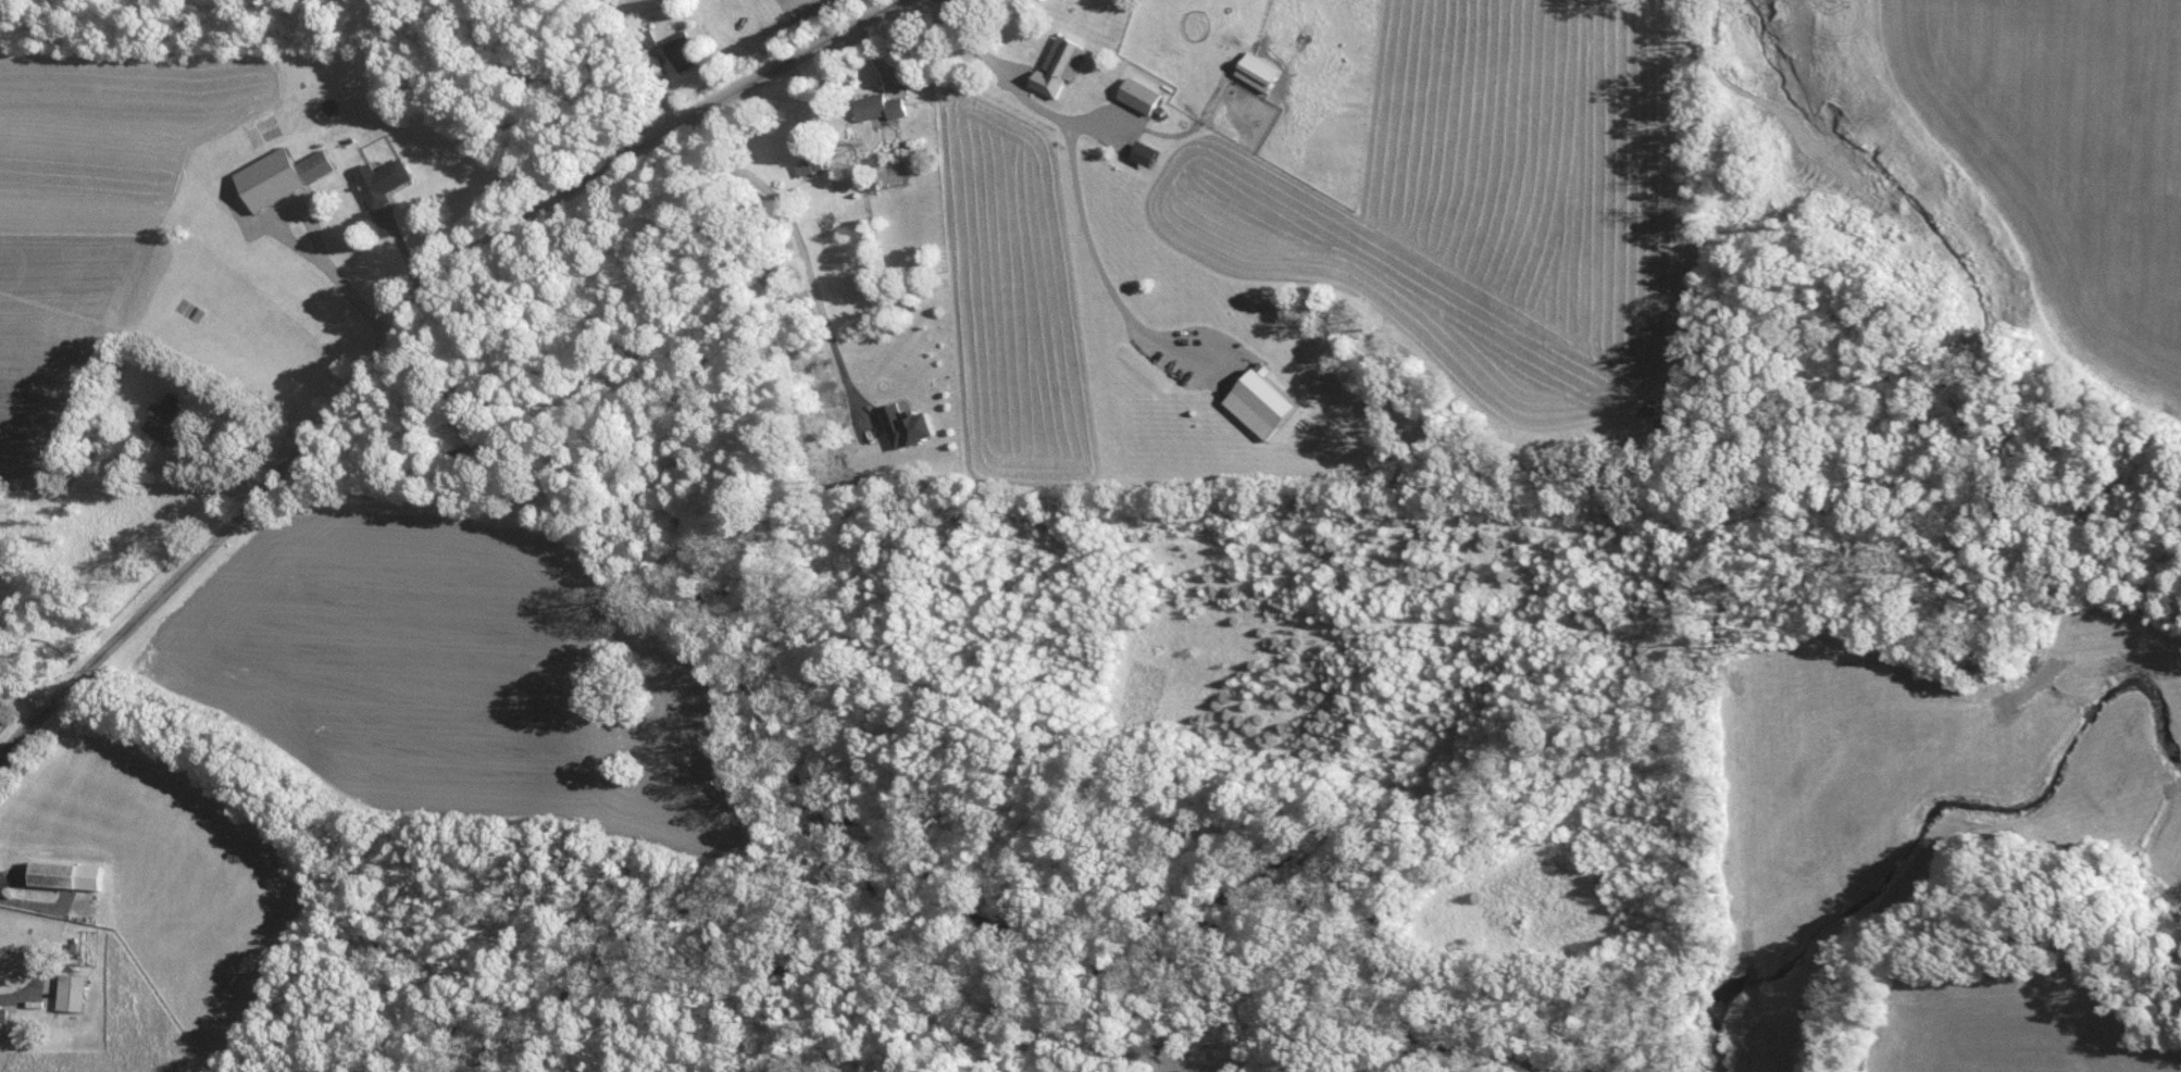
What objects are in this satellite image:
building: (684, 49)
building: (1063, 64)
building: (1262, 70)
building: (1143, 94)
building: (885, 105)
building: (1149, 152)
road: (1075, 165)
building: (286, 173)
building: (385, 178)
road: (802, 241)
road: (300, 247)
road: (407, 324)
building: (1267, 400)
building: (169, 414)
building: (913, 424)
road: (367, 460)
building: (122, 464)
road: (27, 695)
building: (73, 873)
building: (76, 990)
building: (3, 1012)

